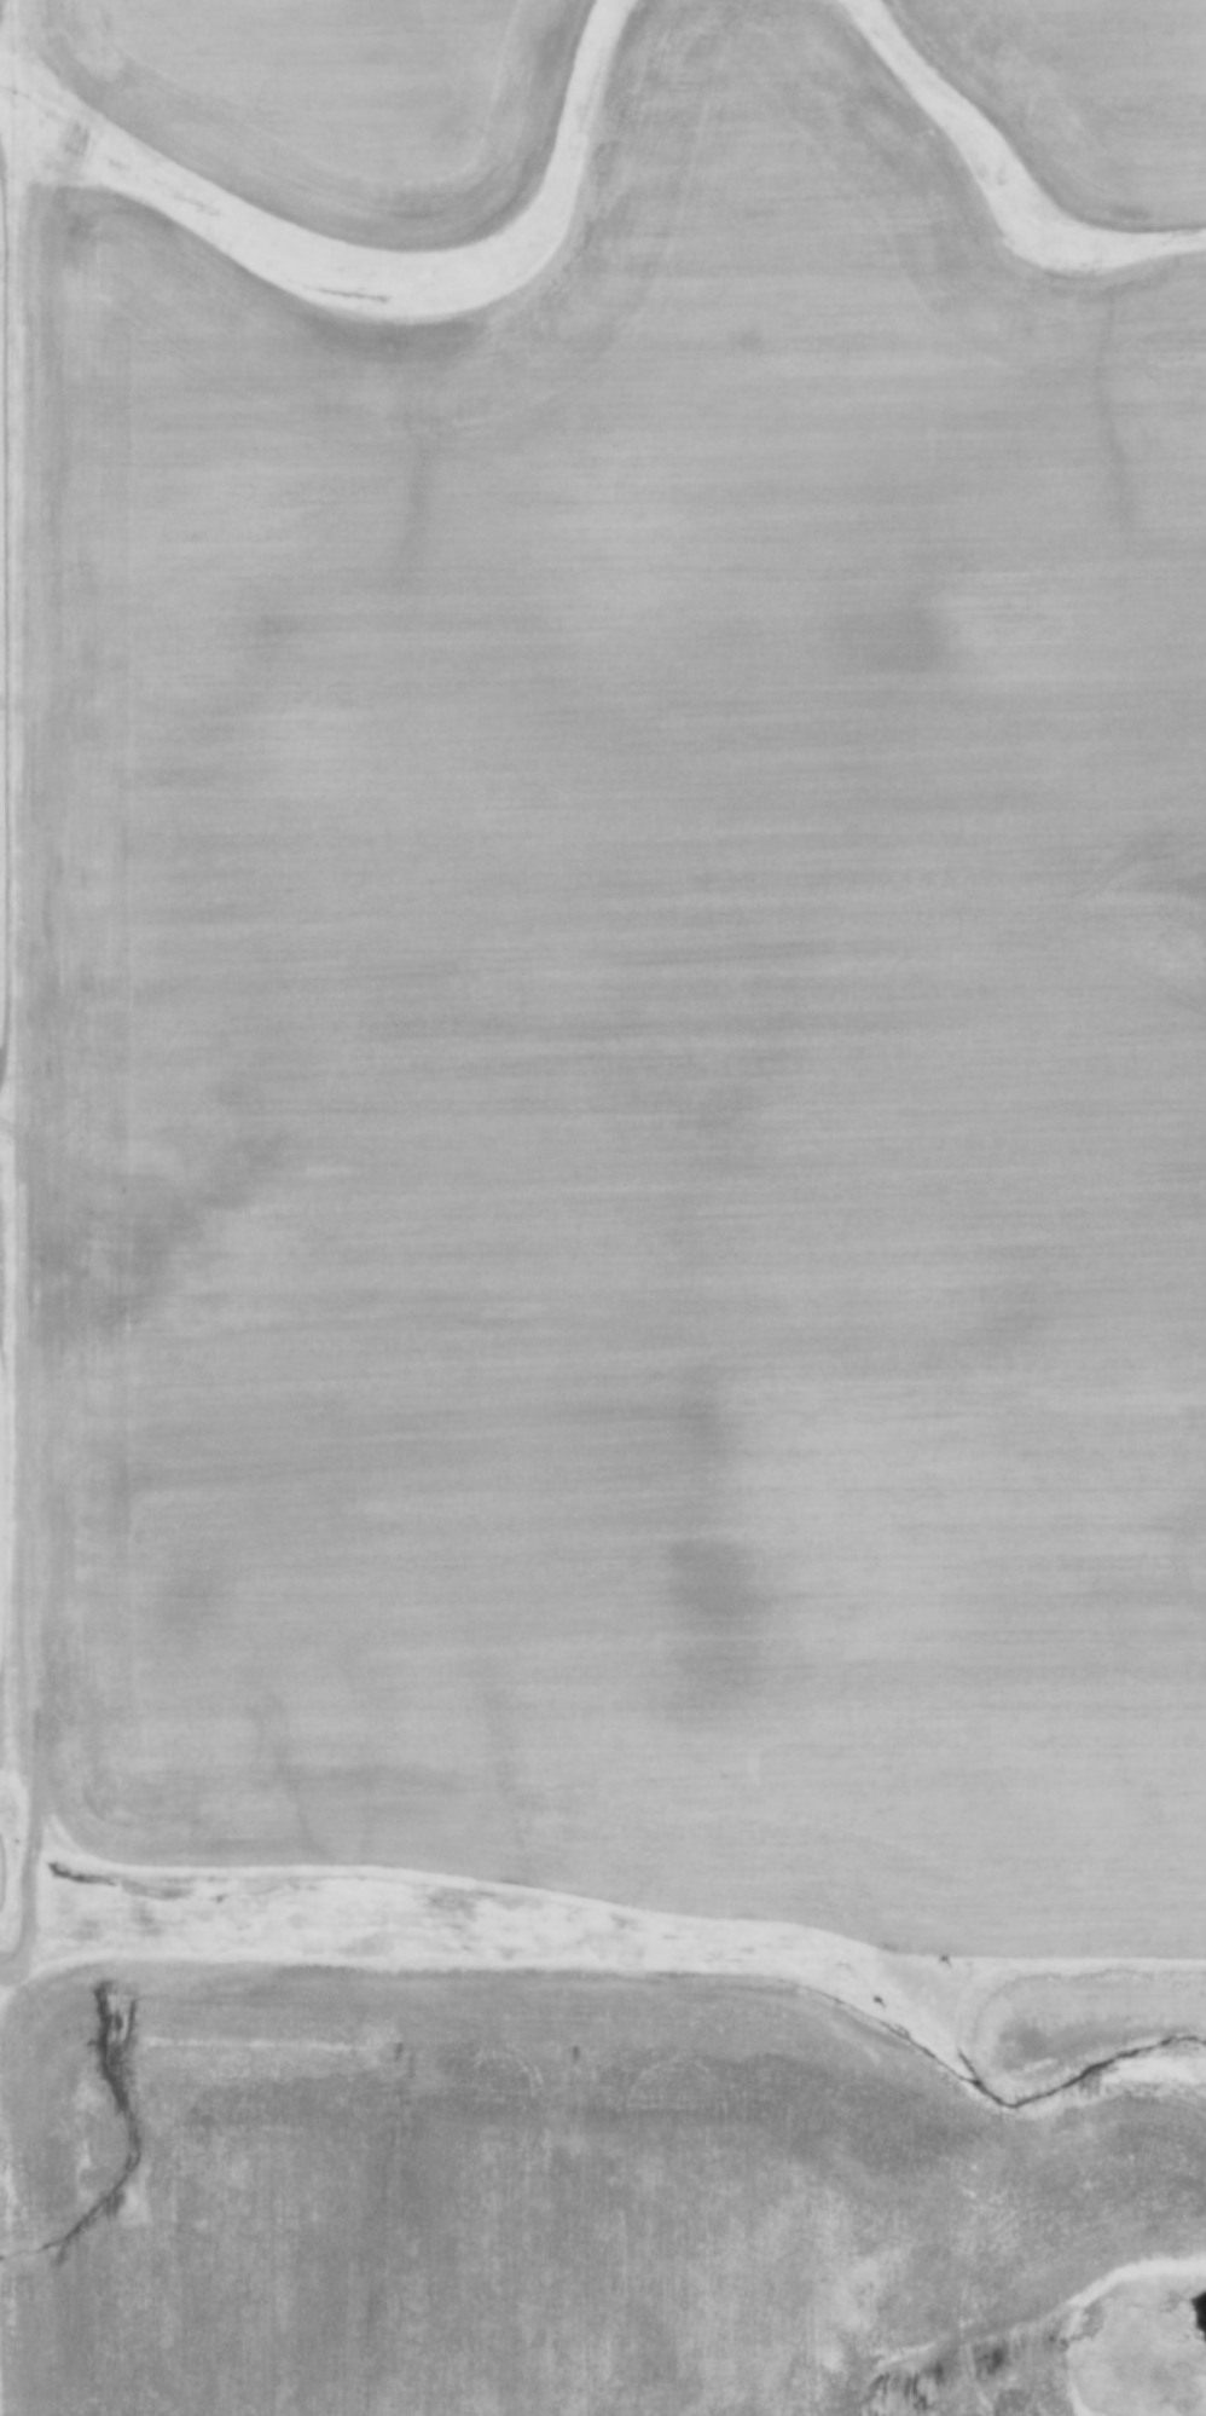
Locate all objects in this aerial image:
road: (25, 1859)

